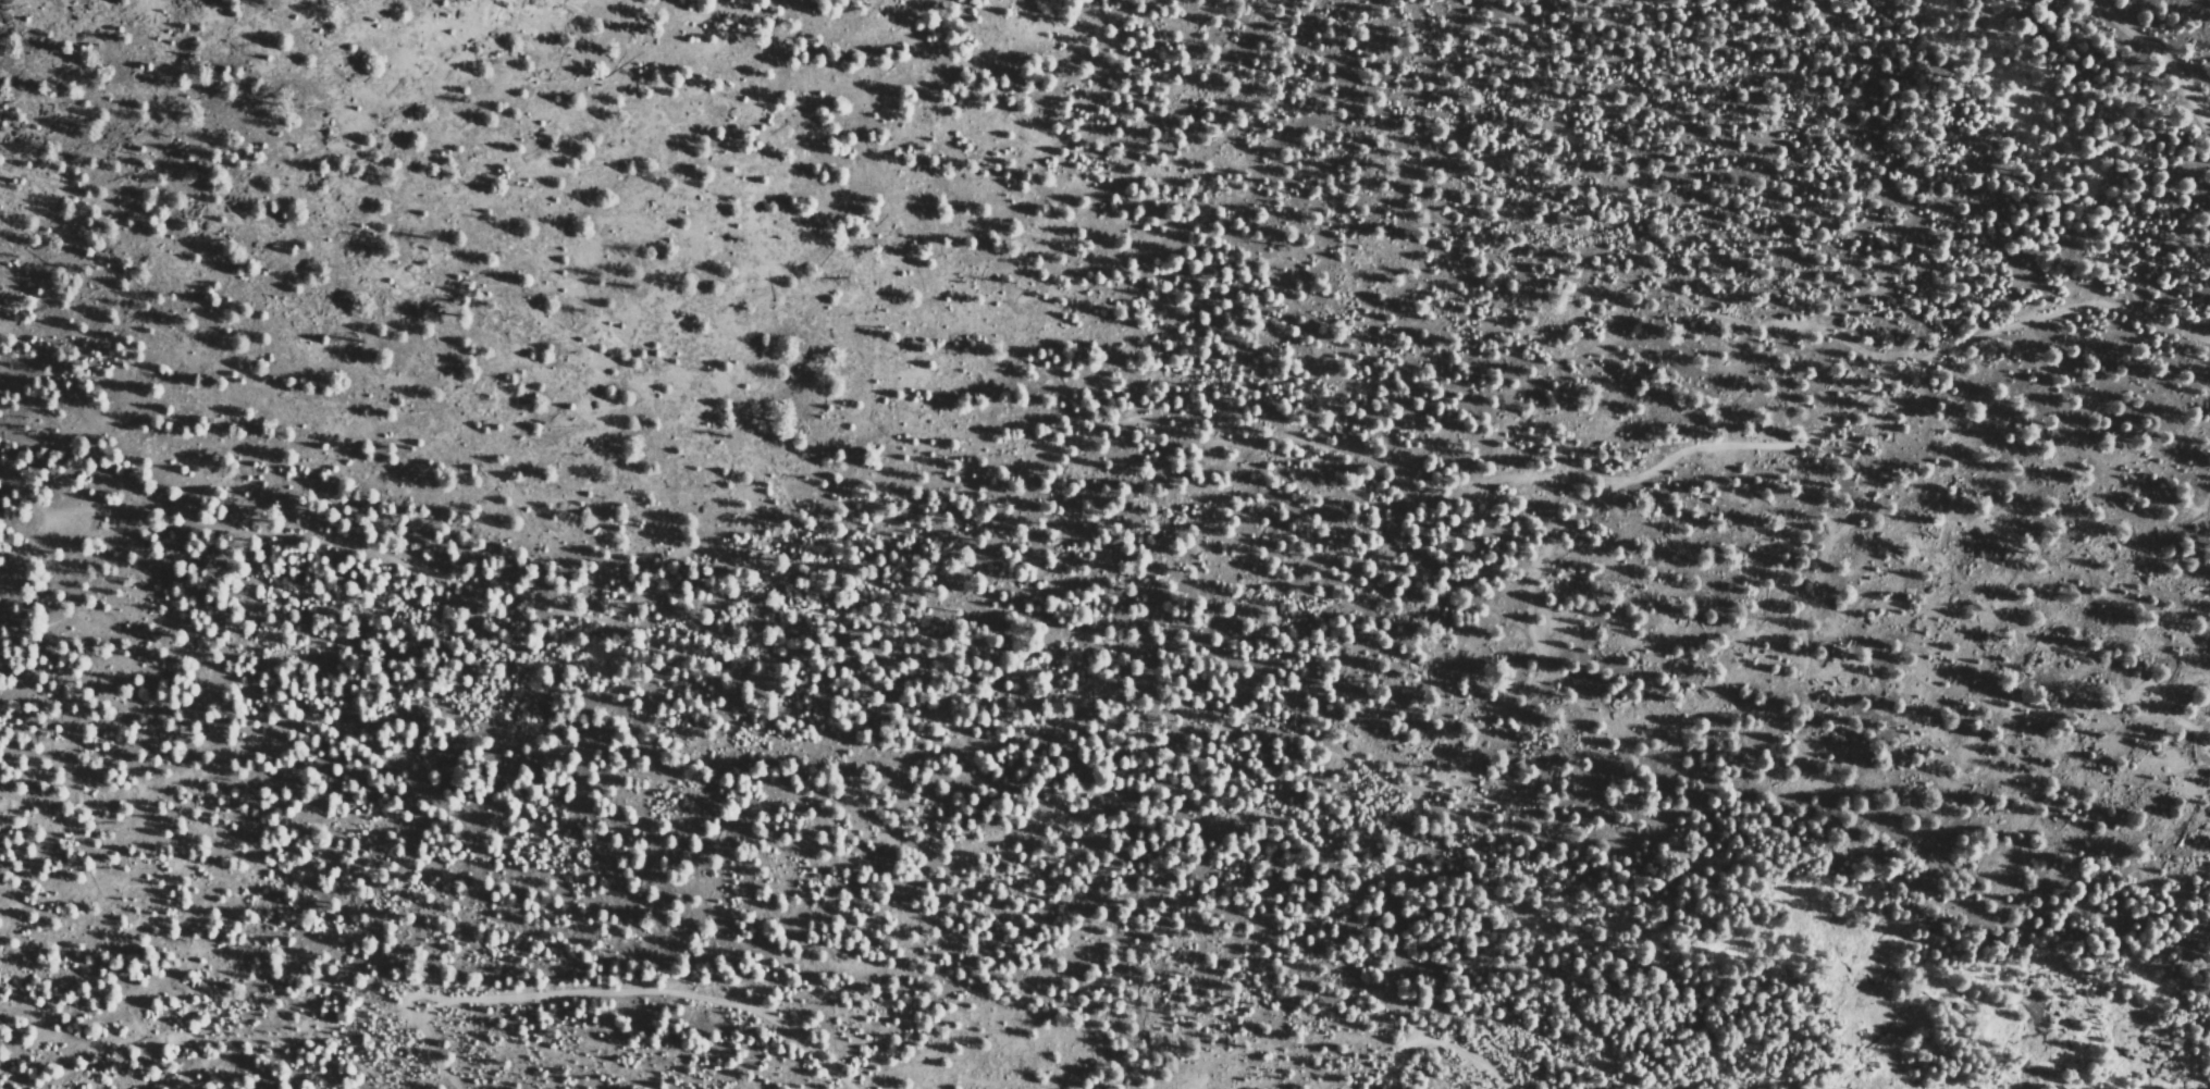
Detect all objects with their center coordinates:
road: (2162, 62)
road: (1642, 262)
road: (1070, 432)
road: (17, 511)
road: (1839, 532)
road: (1524, 680)
road: (2174, 715)
road: (663, 980)
road: (404, 1003)
road: (289, 1032)
road: (1437, 1043)

